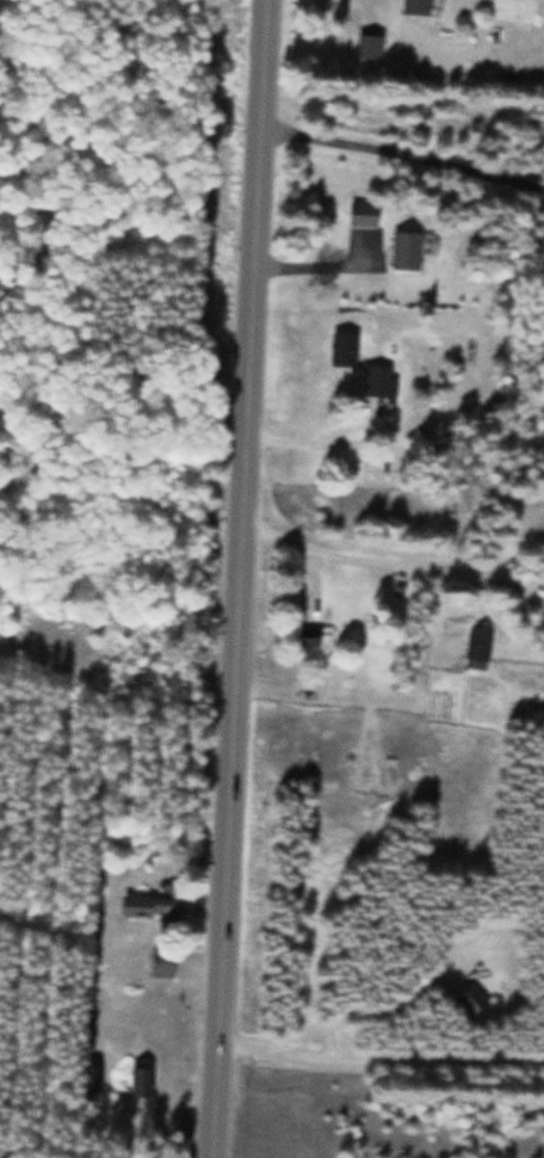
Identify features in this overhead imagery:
building: (415, 6)
building: (371, 44)
road: (120, 57)
building: (366, 211)
building: (410, 248)
building: (346, 347)
road: (395, 375)
building: (382, 380)
road: (245, 578)
building: (311, 635)
building: (482, 645)
building: (147, 906)
building: (160, 961)
building: (469, 999)
road: (382, 1059)
building: (93, 1077)
building: (141, 1079)

